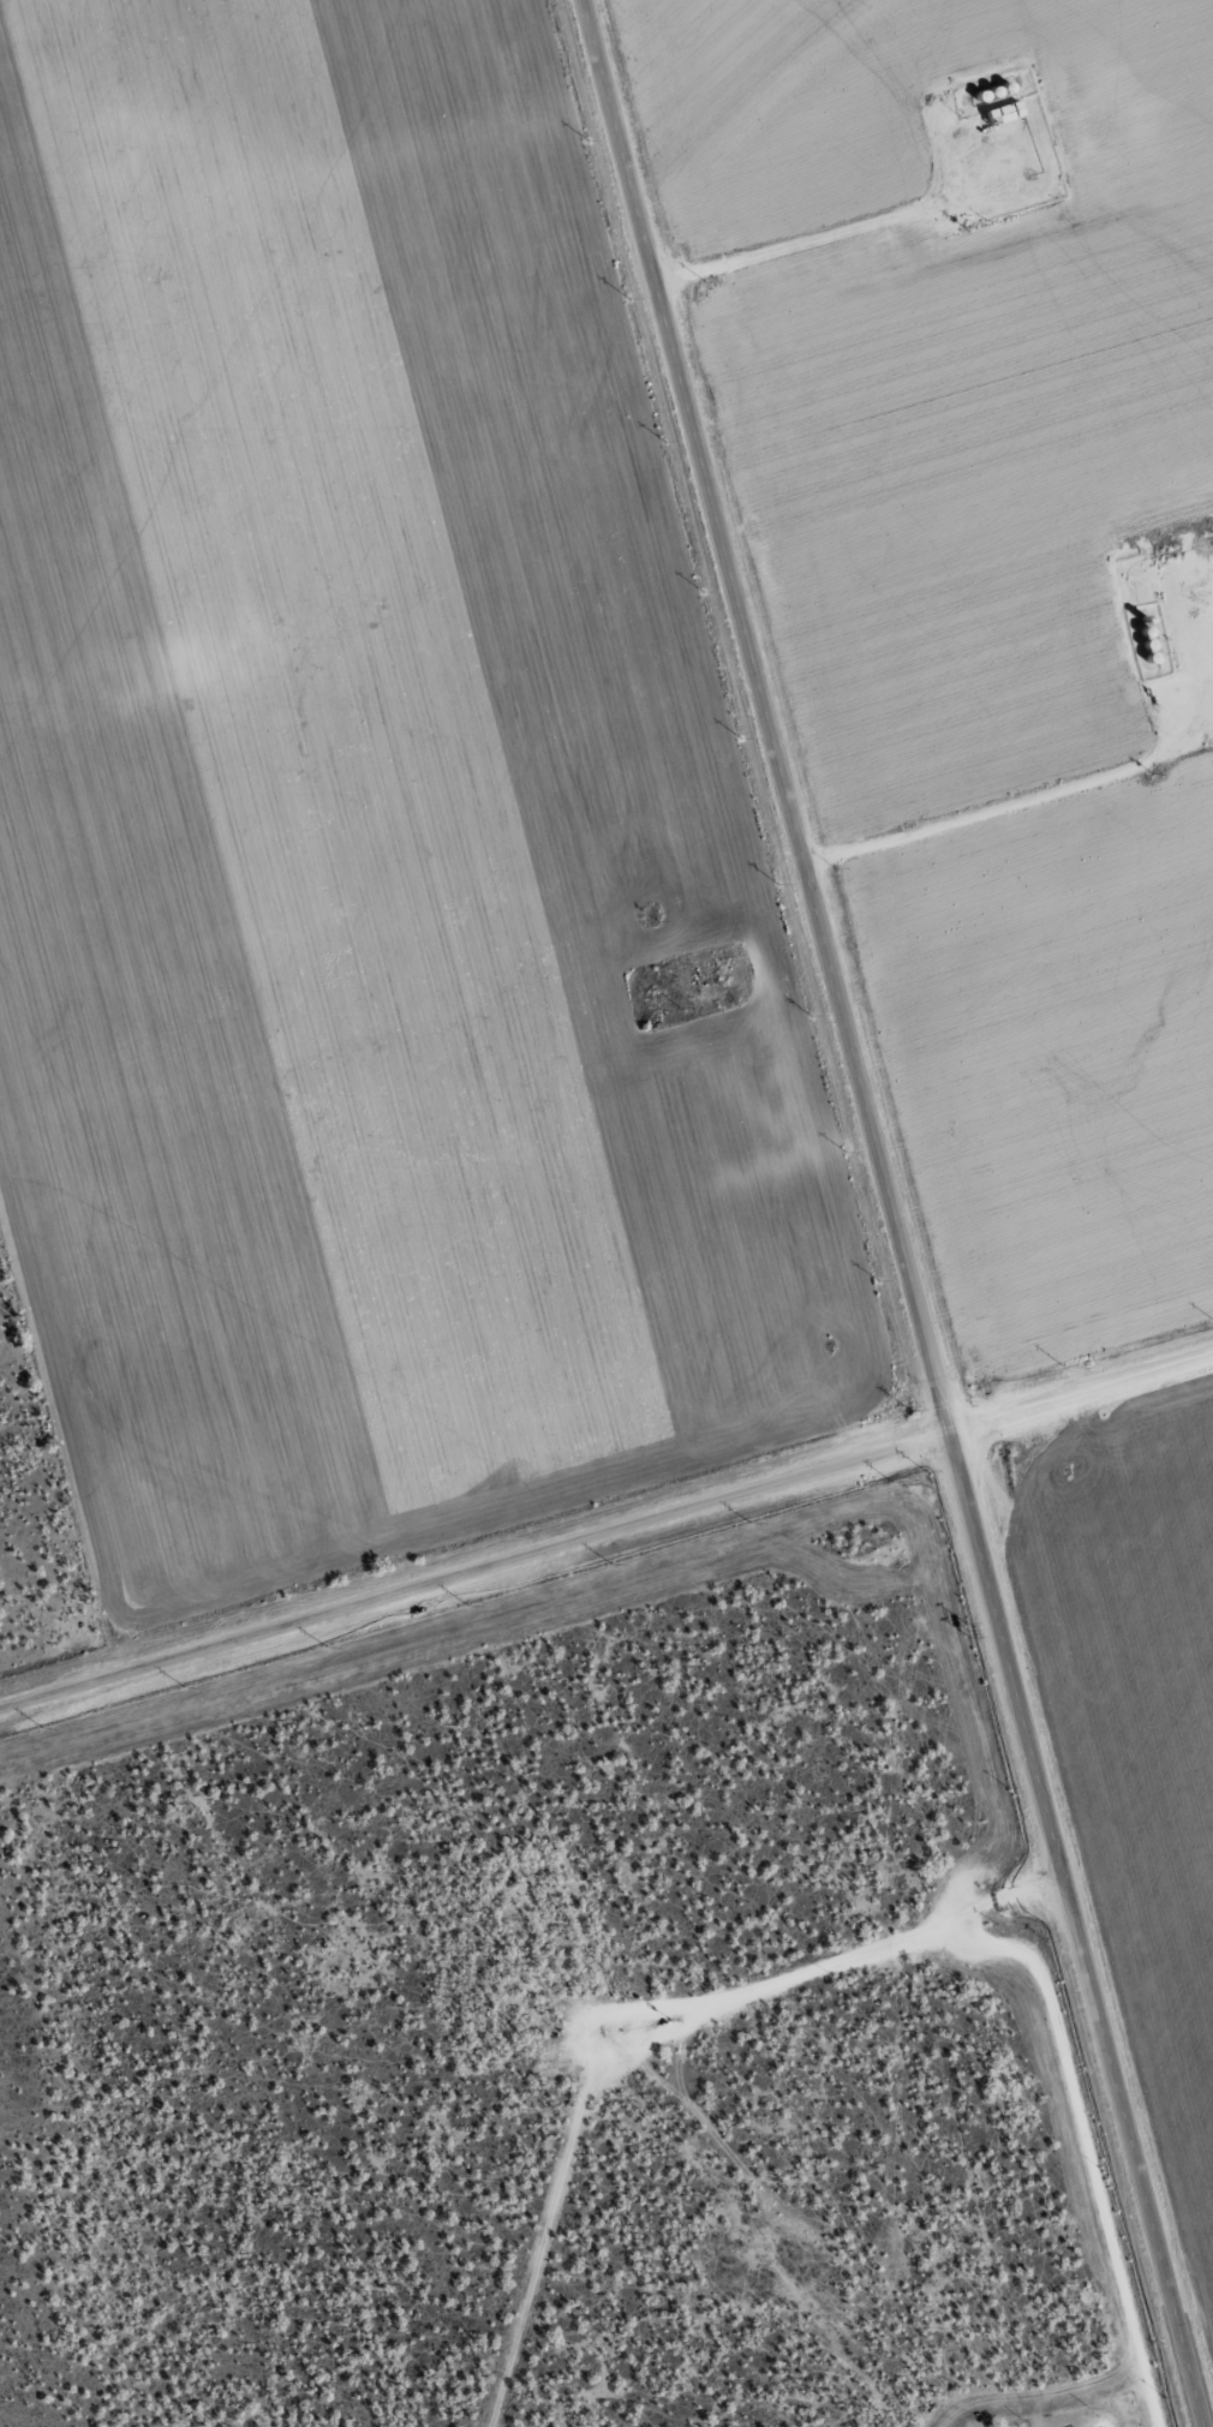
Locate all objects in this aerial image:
building: (1002, 112)
road: (888, 1213)
road: (614, 1543)

